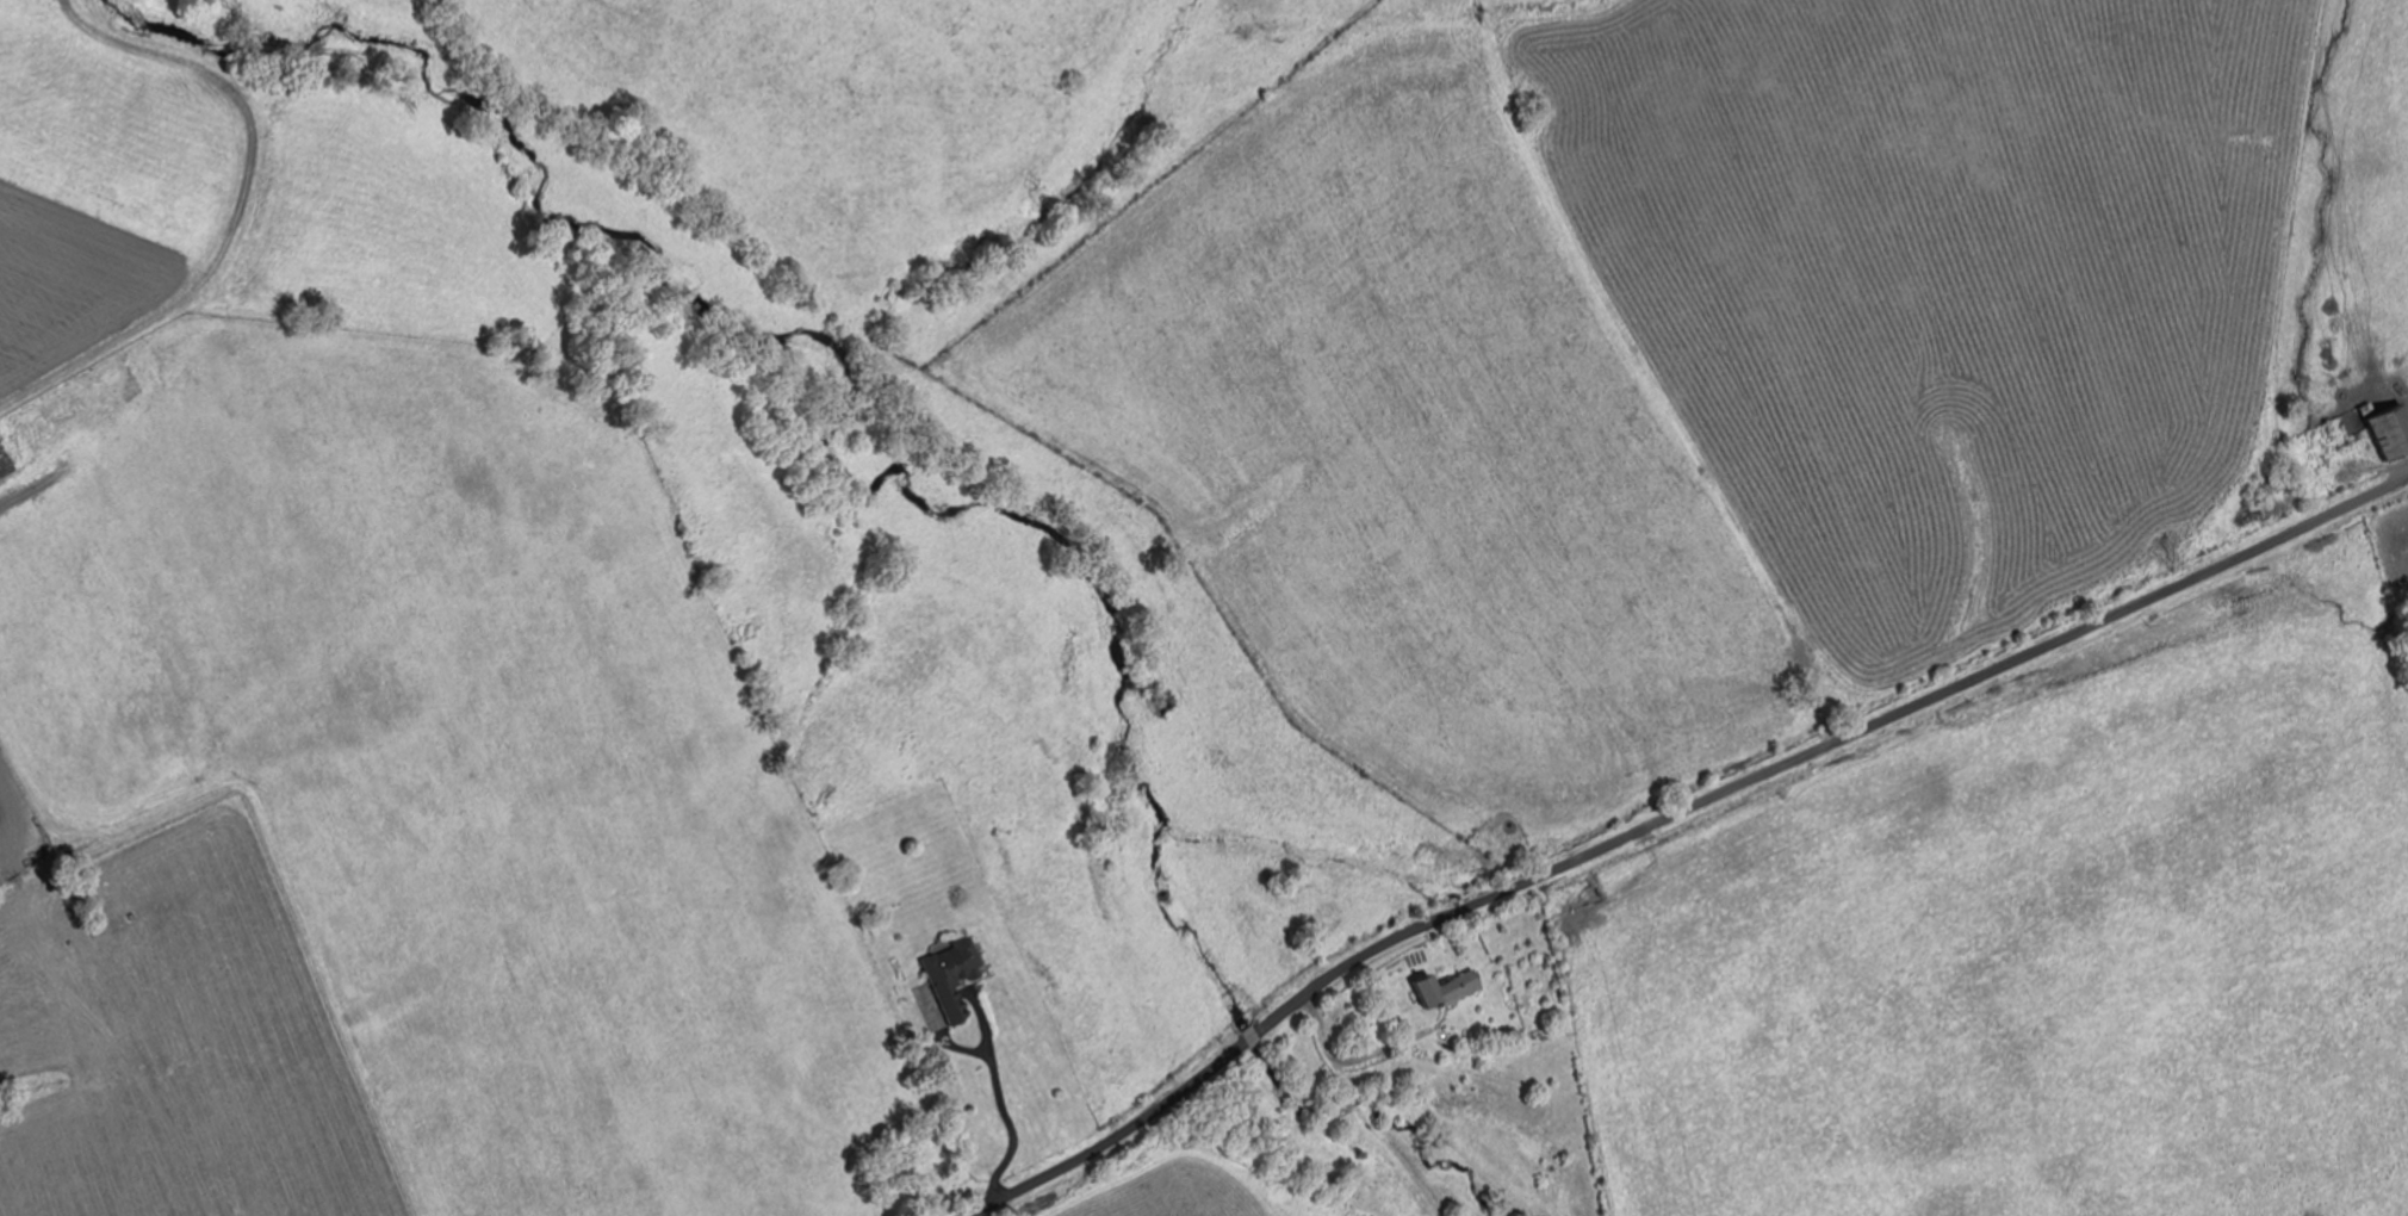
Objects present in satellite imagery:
building: (2395, 432)
road: (1668, 815)
building: (958, 966)
building: (1448, 989)

